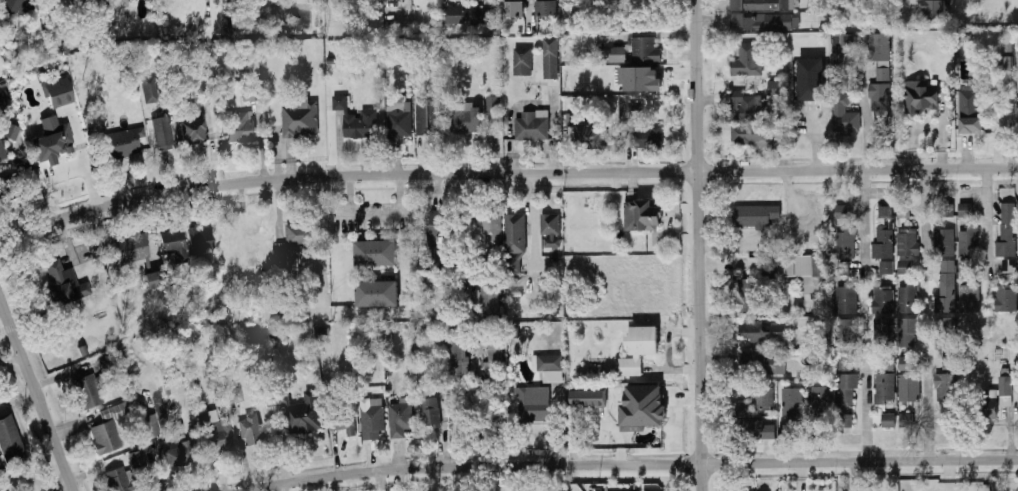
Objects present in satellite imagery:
building: (330, 0)
road: (486, 1)
building: (765, 4)
building: (19, 6)
building: (514, 8)
building: (548, 8)
building: (935, 9)
road: (527, 10)
building: (647, 11)
building: (465, 15)
building: (767, 21)
building: (881, 47)
building: (844, 48)
building: (645, 50)
building: (617, 54)
building: (751, 59)
building: (525, 61)
building: (1006, 62)
building: (552, 64)
building: (886, 74)
building: (640, 79)
building: (812, 79)
building: (842, 82)
building: (3, 85)
building: (776, 88)
building: (149, 89)
building: (57, 92)
building: (251, 94)
building: (922, 95)
building: (882, 96)
building: (3, 97)
building: (494, 104)
building: (637, 107)
building: (751, 108)
building: (970, 109)
road: (864, 110)
building: (846, 116)
building: (300, 117)
building: (427, 118)
building: (358, 119)
building: (464, 121)
building: (400, 124)
building: (191, 125)
building: (239, 127)
building: (532, 127)
building: (587, 132)
building: (885, 132)
building: (164, 134)
building: (751, 134)
building: (648, 137)
building: (52, 142)
building: (126, 143)
road: (815, 145)
building: (2, 150)
building: (23, 165)
road: (67, 171)
road: (505, 177)
building: (6, 190)
road: (530, 196)
building: (966, 208)
building: (944, 209)
building: (886, 210)
building: (904, 210)
road: (409, 212)
road: (376, 214)
building: (642, 214)
building: (754, 215)
road: (342, 216)
road: (986, 222)
road: (863, 224)
road: (925, 225)
building: (551, 228)
building: (492, 229)
building: (193, 230)
building: (1008, 231)
building: (845, 232)
building: (969, 236)
building: (515, 240)
road: (775, 240)
building: (173, 241)
building: (202, 241)
building: (907, 241)
building: (883, 242)
building: (944, 242)
building: (434, 243)
building: (280, 244)
road: (473, 244)
road: (698, 245)
building: (376, 252)
building: (137, 256)
building: (182, 256)
building: (1008, 265)
building: (257, 266)
building: (948, 266)
building: (967, 266)
building: (887, 268)
building: (906, 268)
building: (457, 271)
building: (792, 271)
building: (844, 271)
building: (557, 276)
building: (64, 284)
building: (378, 293)
building: (1007, 295)
building: (745, 296)
building: (947, 296)
building: (909, 297)
building: (970, 297)
building: (848, 298)
building: (884, 299)
building: (490, 300)
building: (324, 330)
building: (763, 331)
building: (514, 332)
building: (908, 335)
building: (885, 336)
building: (948, 340)
building: (847, 343)
building: (638, 349)
building: (85, 351)
building: (459, 353)
building: (494, 353)
building: (546, 362)
building: (105, 363)
building: (887, 363)
building: (906, 363)
building: (946, 386)
building: (910, 387)
building: (846, 388)
building: (886, 388)
road: (37, 391)
building: (88, 391)
building: (822, 393)
building: (756, 396)
building: (235, 397)
building: (597, 397)
building: (989, 398)
building: (793, 401)
building: (534, 403)
road: (20, 404)
building: (642, 407)
road: (927, 408)
building: (297, 409)
road: (867, 409)
building: (431, 411)
building: (401, 417)
building: (373, 419)
building: (846, 419)
building: (889, 420)
building: (908, 420)
building: (344, 424)
building: (152, 426)
building: (252, 429)
building: (109, 430)
building: (784, 434)
building: (222, 436)
building: (11, 442)
building: (181, 456)
building: (137, 460)
road: (638, 466)
road: (16, 477)
park: (31, 479)
building: (117, 481)
road: (281, 489)

